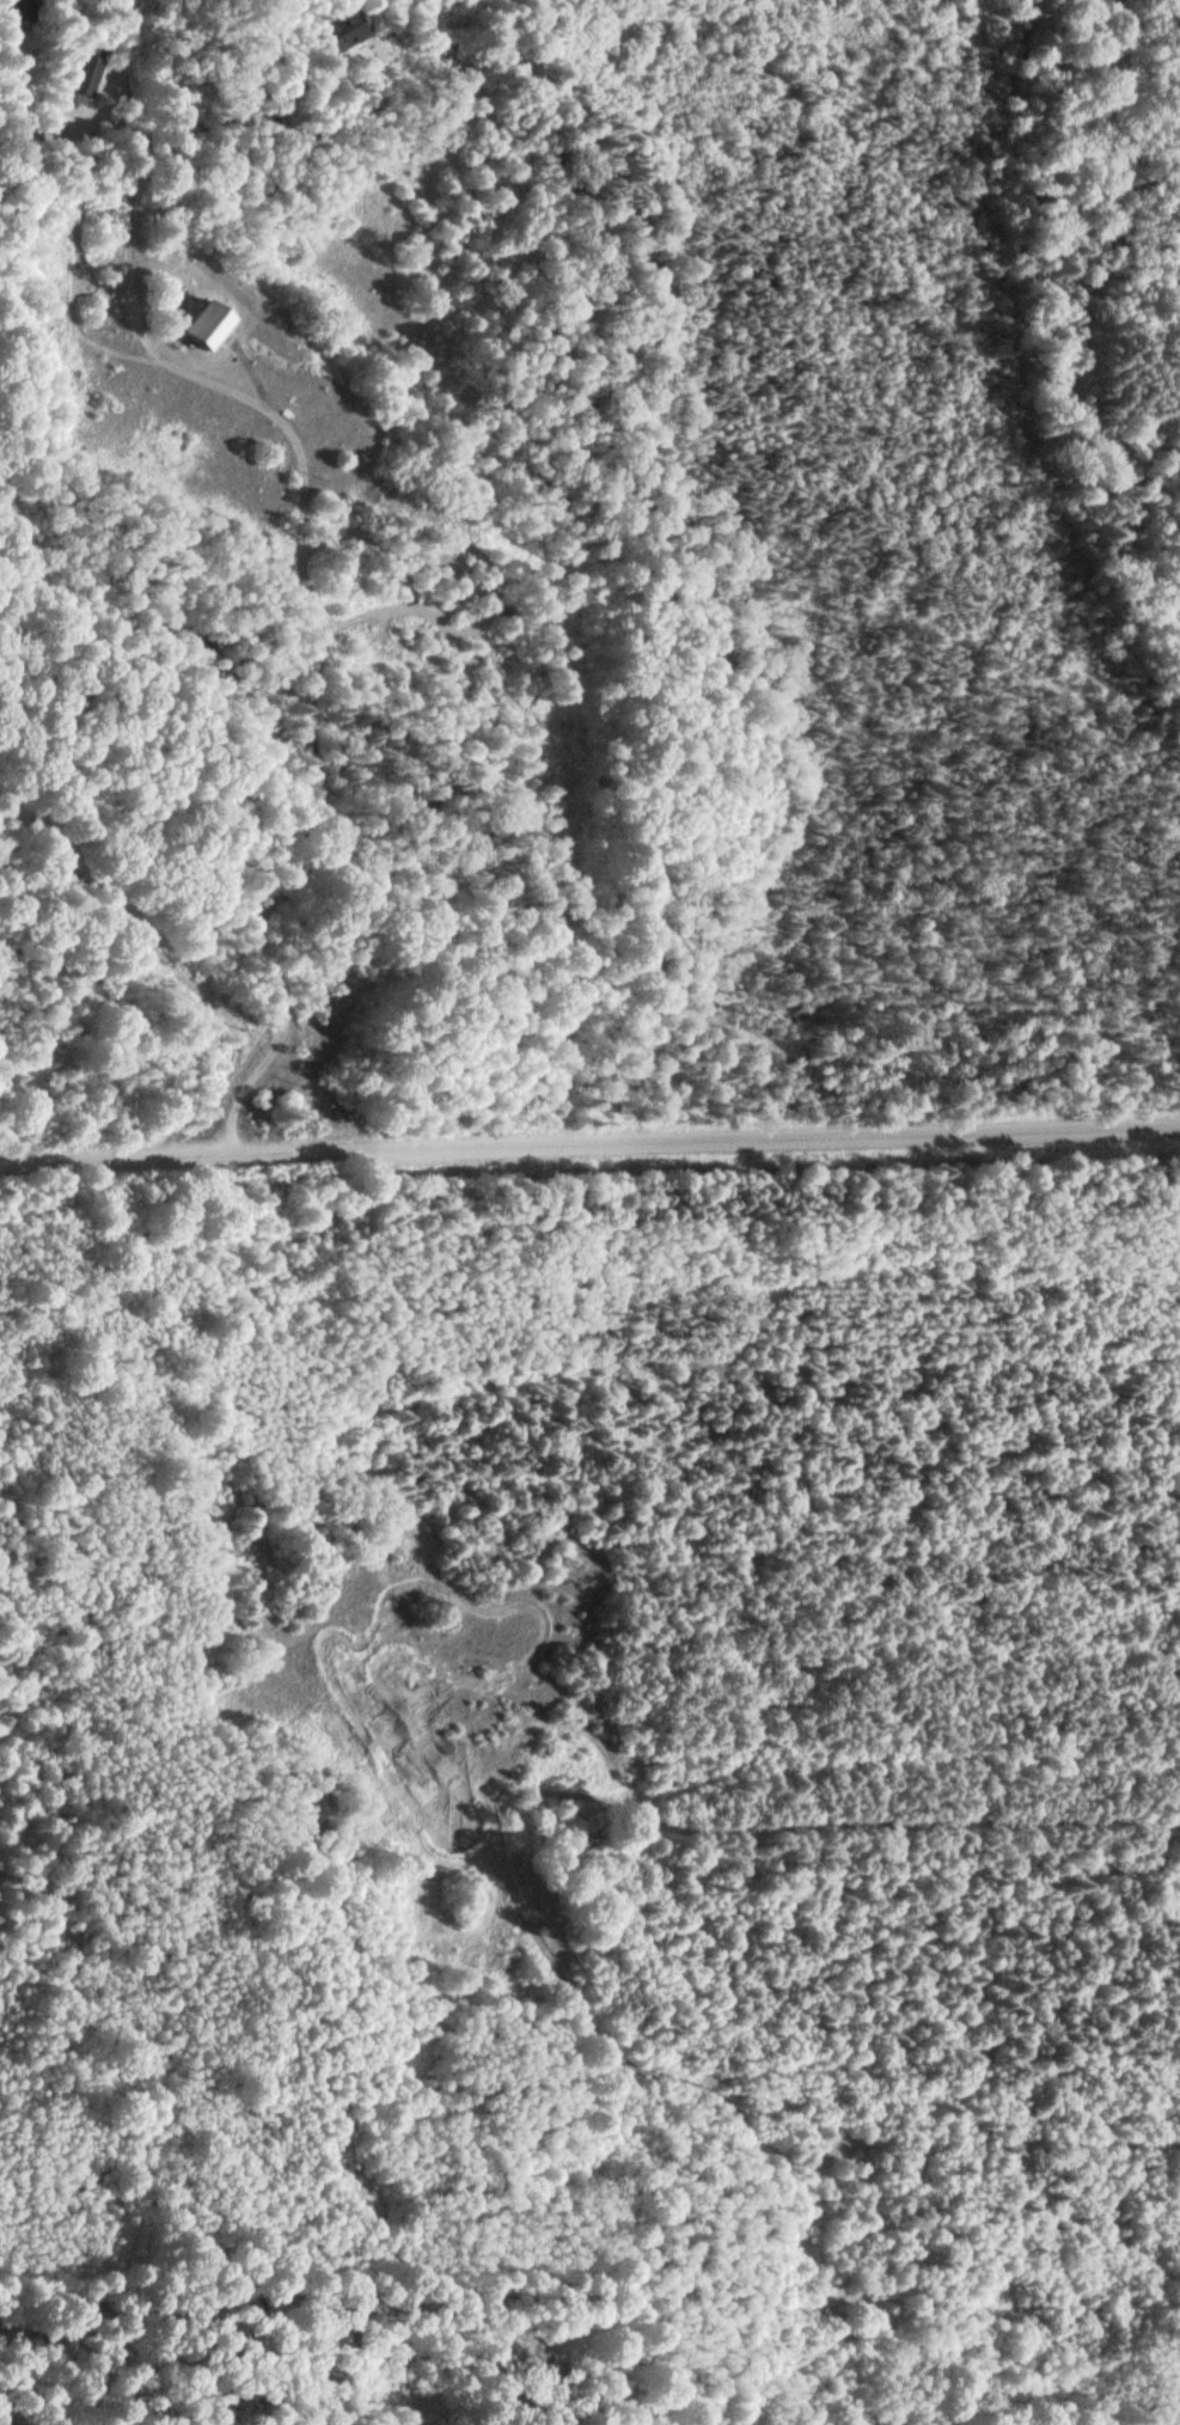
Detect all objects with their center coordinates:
building: (24, 10)
building: (349, 28)
building: (88, 69)
road: (71, 134)
building: (207, 322)
road: (324, 628)
road: (61, 949)
road: (589, 1141)

